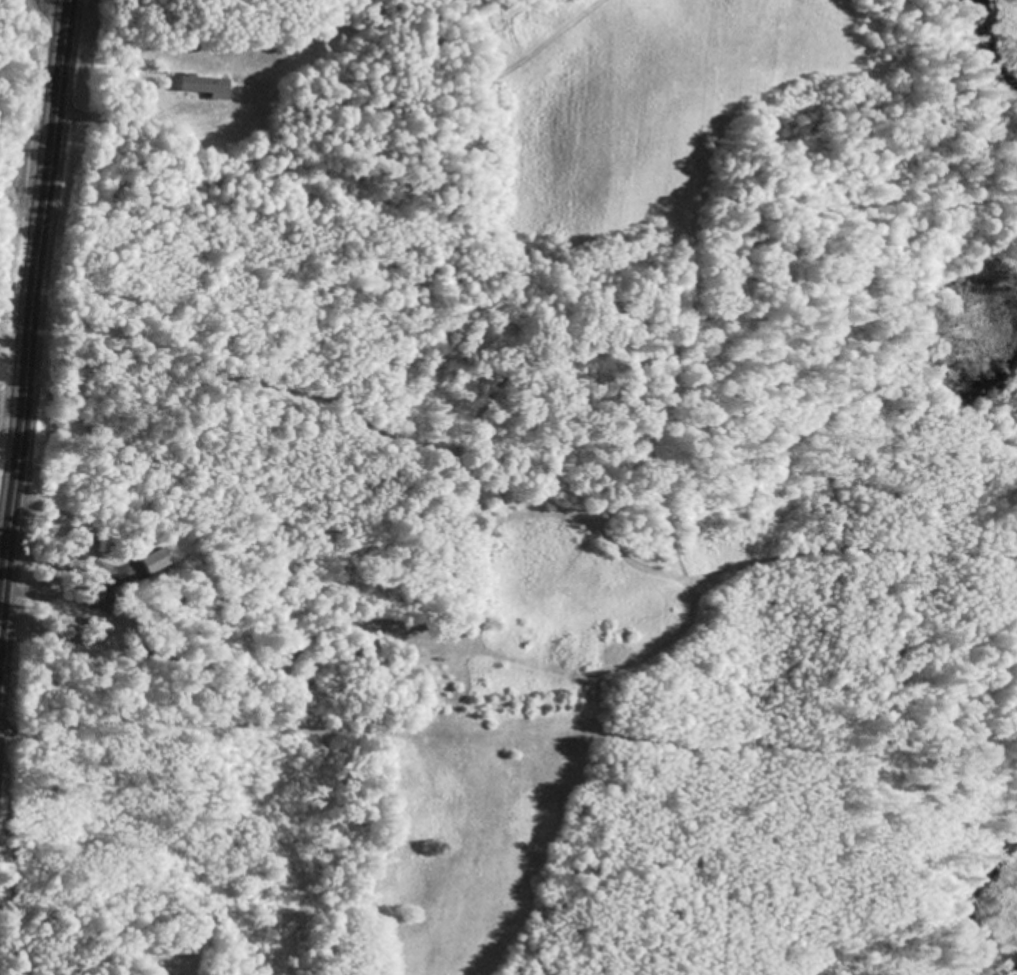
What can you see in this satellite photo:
building: (207, 86)
road: (32, 314)

